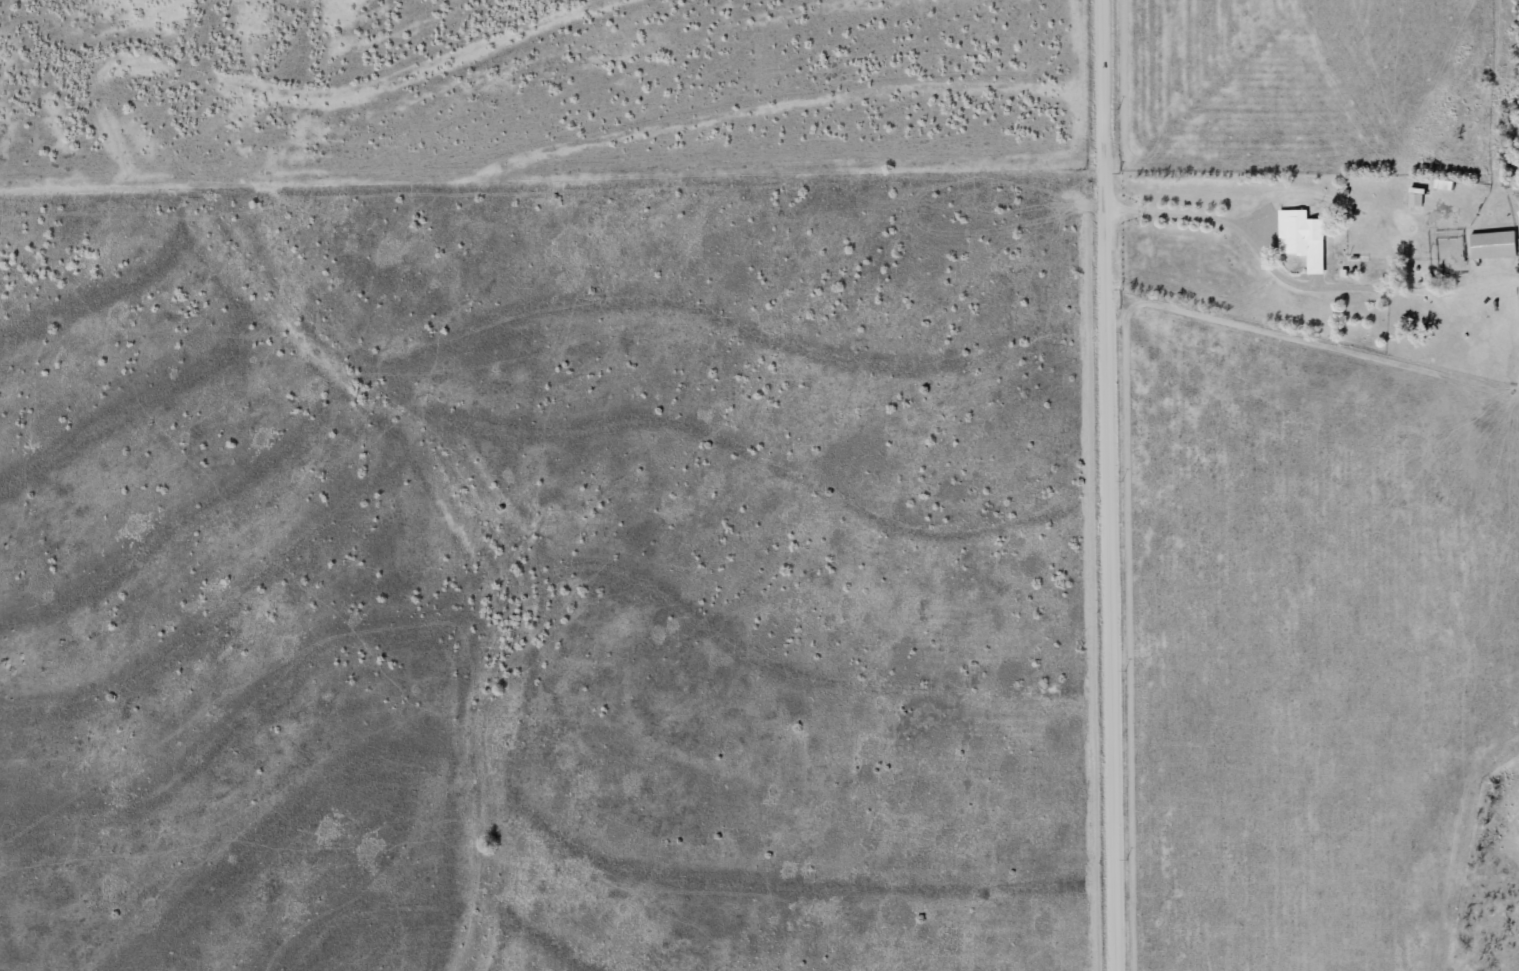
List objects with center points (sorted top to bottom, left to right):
building: (1415, 196)
building: (1302, 238)
building: (1491, 244)
road: (1109, 485)

